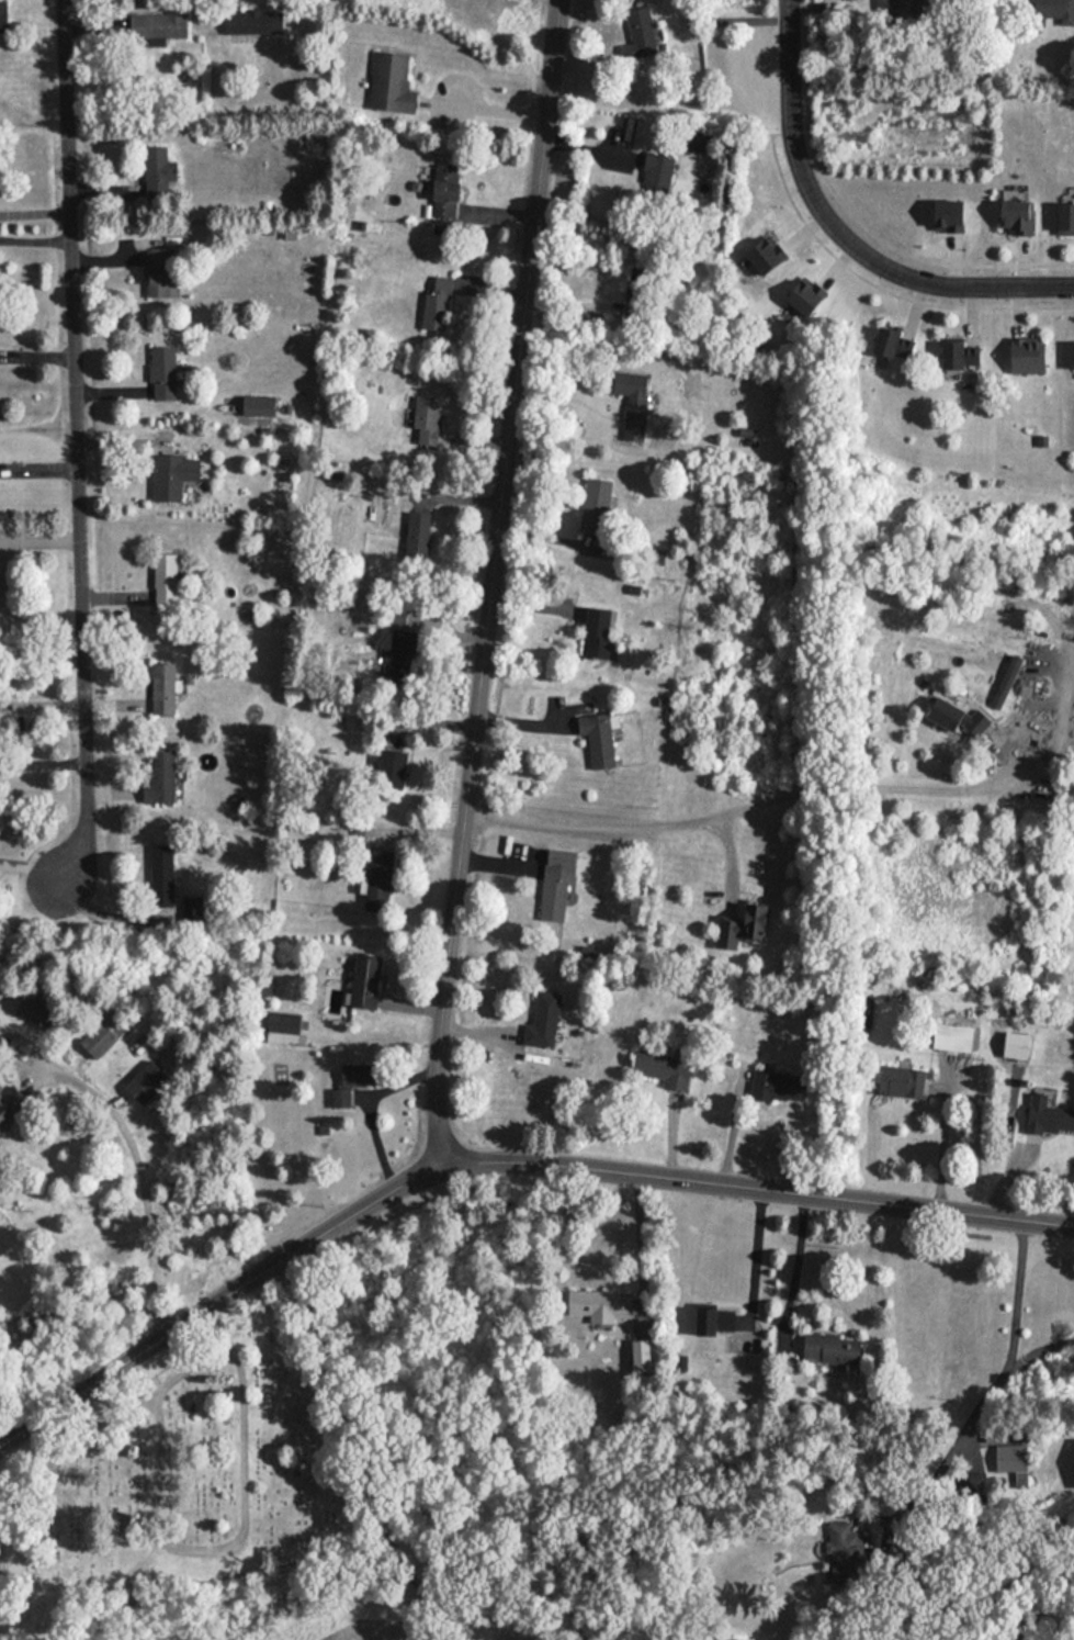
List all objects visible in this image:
building: (907, 5)
building: (1051, 11)
building: (3, 18)
building: (255, 21)
building: (159, 25)
building: (642, 33)
building: (392, 83)
road: (488, 110)
building: (702, 142)
building: (161, 173)
building: (657, 175)
building: (448, 191)
building: (1018, 215)
road: (35, 216)
building: (1067, 217)
road: (840, 233)
building: (159, 273)
building: (640, 292)
building: (438, 305)
building: (896, 342)
building: (962, 353)
building: (1029, 355)
building: (165, 373)
building: (634, 403)
building: (428, 420)
road: (76, 445)
building: (173, 478)
building: (597, 504)
building: (418, 536)
road: (38, 539)
road: (491, 579)
building: (165, 580)
building: (599, 632)
building: (404, 637)
building: (165, 689)
building: (959, 716)
building: (599, 739)
building: (393, 768)
building: (162, 777)
road: (733, 808)
building: (163, 877)
building: (382, 878)
building: (556, 890)
building: (745, 926)
building: (368, 980)
building: (37, 1012)
building: (544, 1021)
building: (285, 1027)
building: (104, 1035)
building: (956, 1037)
building: (664, 1068)
building: (147, 1081)
building: (903, 1081)
building: (353, 1082)
building: (780, 1086)
building: (11, 1105)
building: (1049, 1115)
road: (942, 1144)
road: (758, 1186)
road: (139, 1190)
road: (640, 1238)
road: (756, 1251)
road: (798, 1260)
road: (218, 1298)
building: (600, 1305)
building: (716, 1319)
building: (833, 1347)
road: (995, 1388)
road: (114, 1408)
road: (364, 1456)
building: (1014, 1463)
park: (178, 1478)
road: (237, 1538)
building: (845, 1550)

